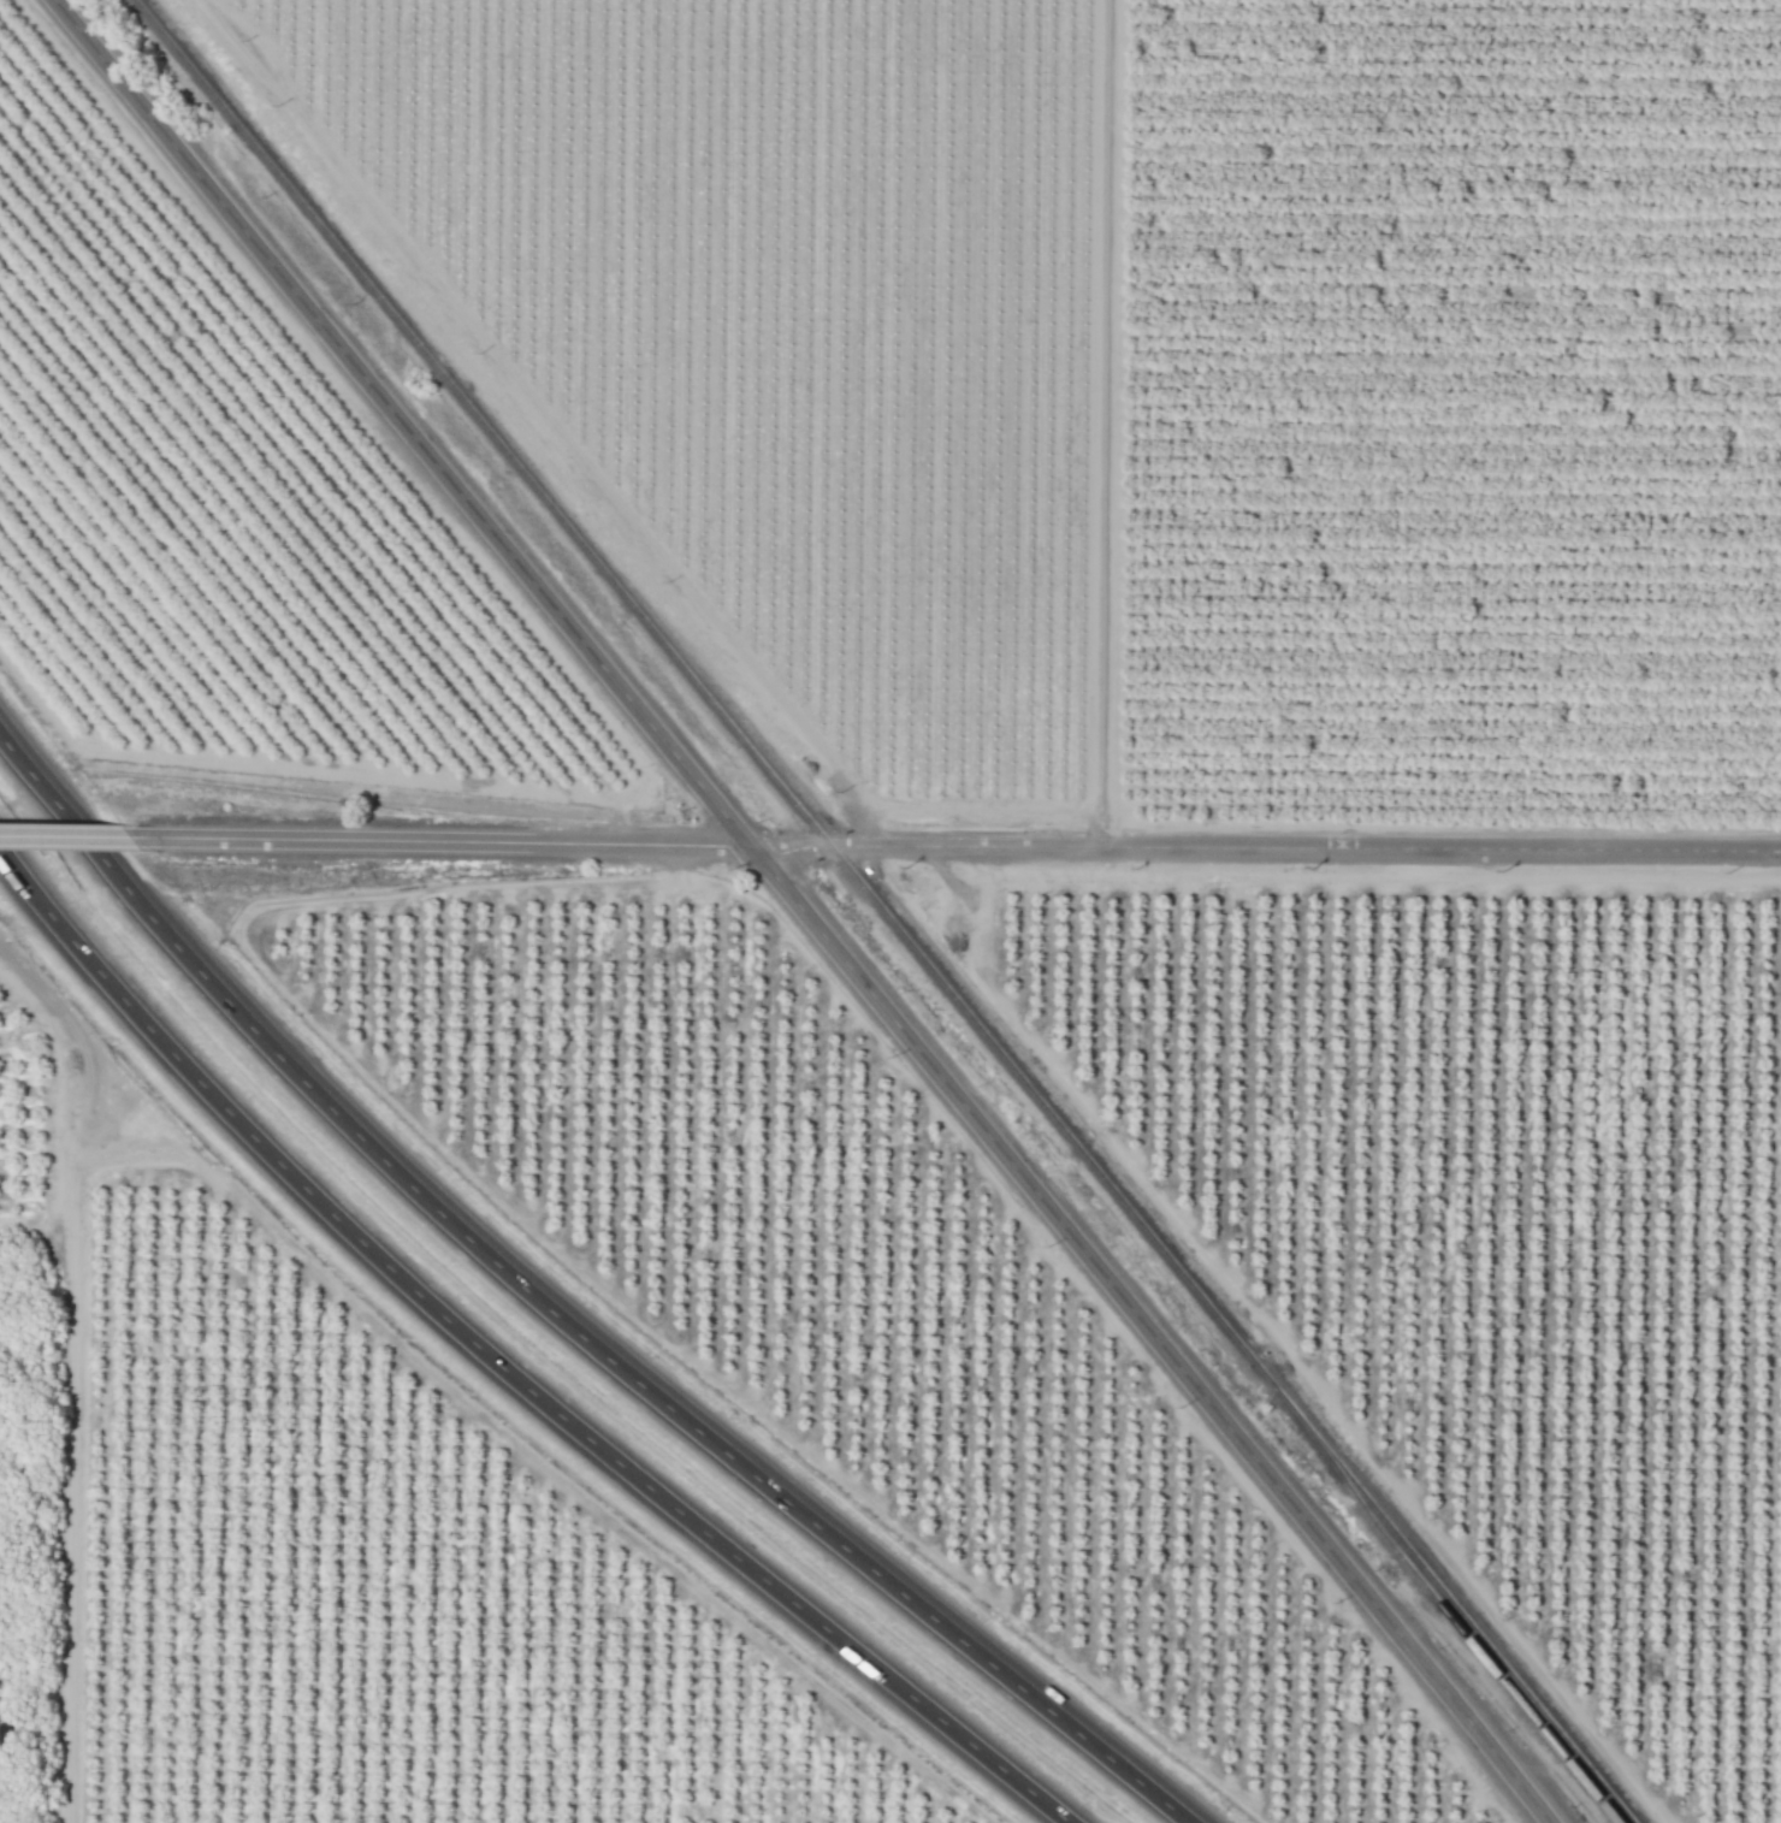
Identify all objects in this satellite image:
road: (539, 413)
road: (1105, 421)
road: (1088, 422)
road: (968, 841)
road: (77, 846)
road: (795, 910)
railway: (883, 910)
road: (55, 1010)
road: (555, 1314)
road: (503, 1367)

